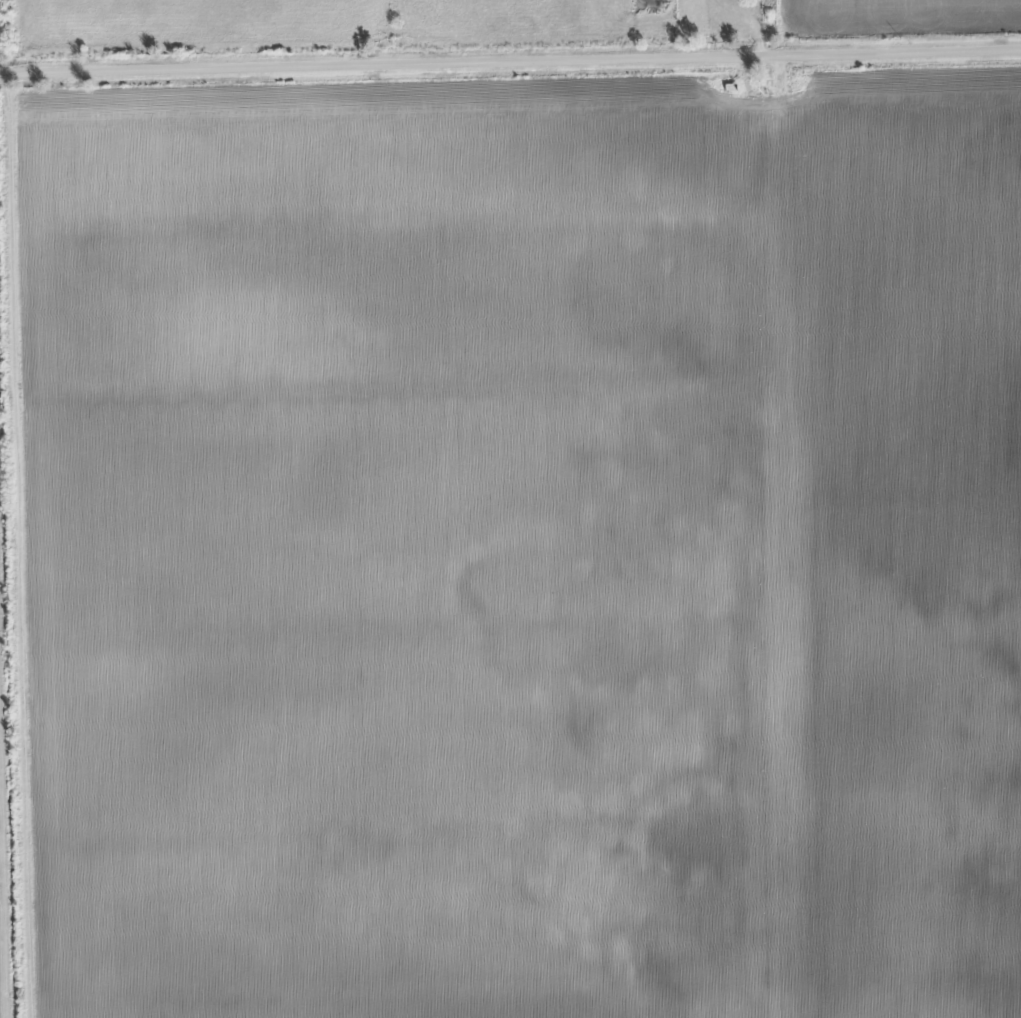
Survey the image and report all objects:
road: (751, 16)
road: (510, 59)

